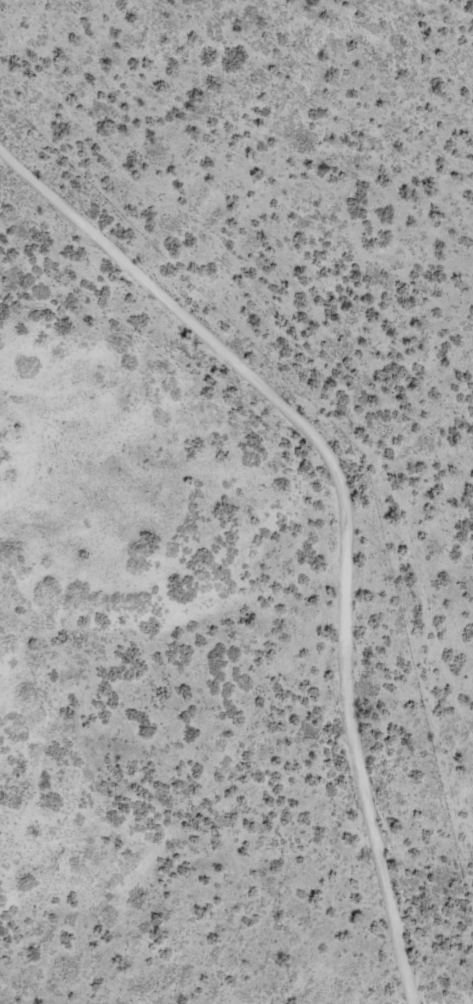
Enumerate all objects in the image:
road: (345, 508)

